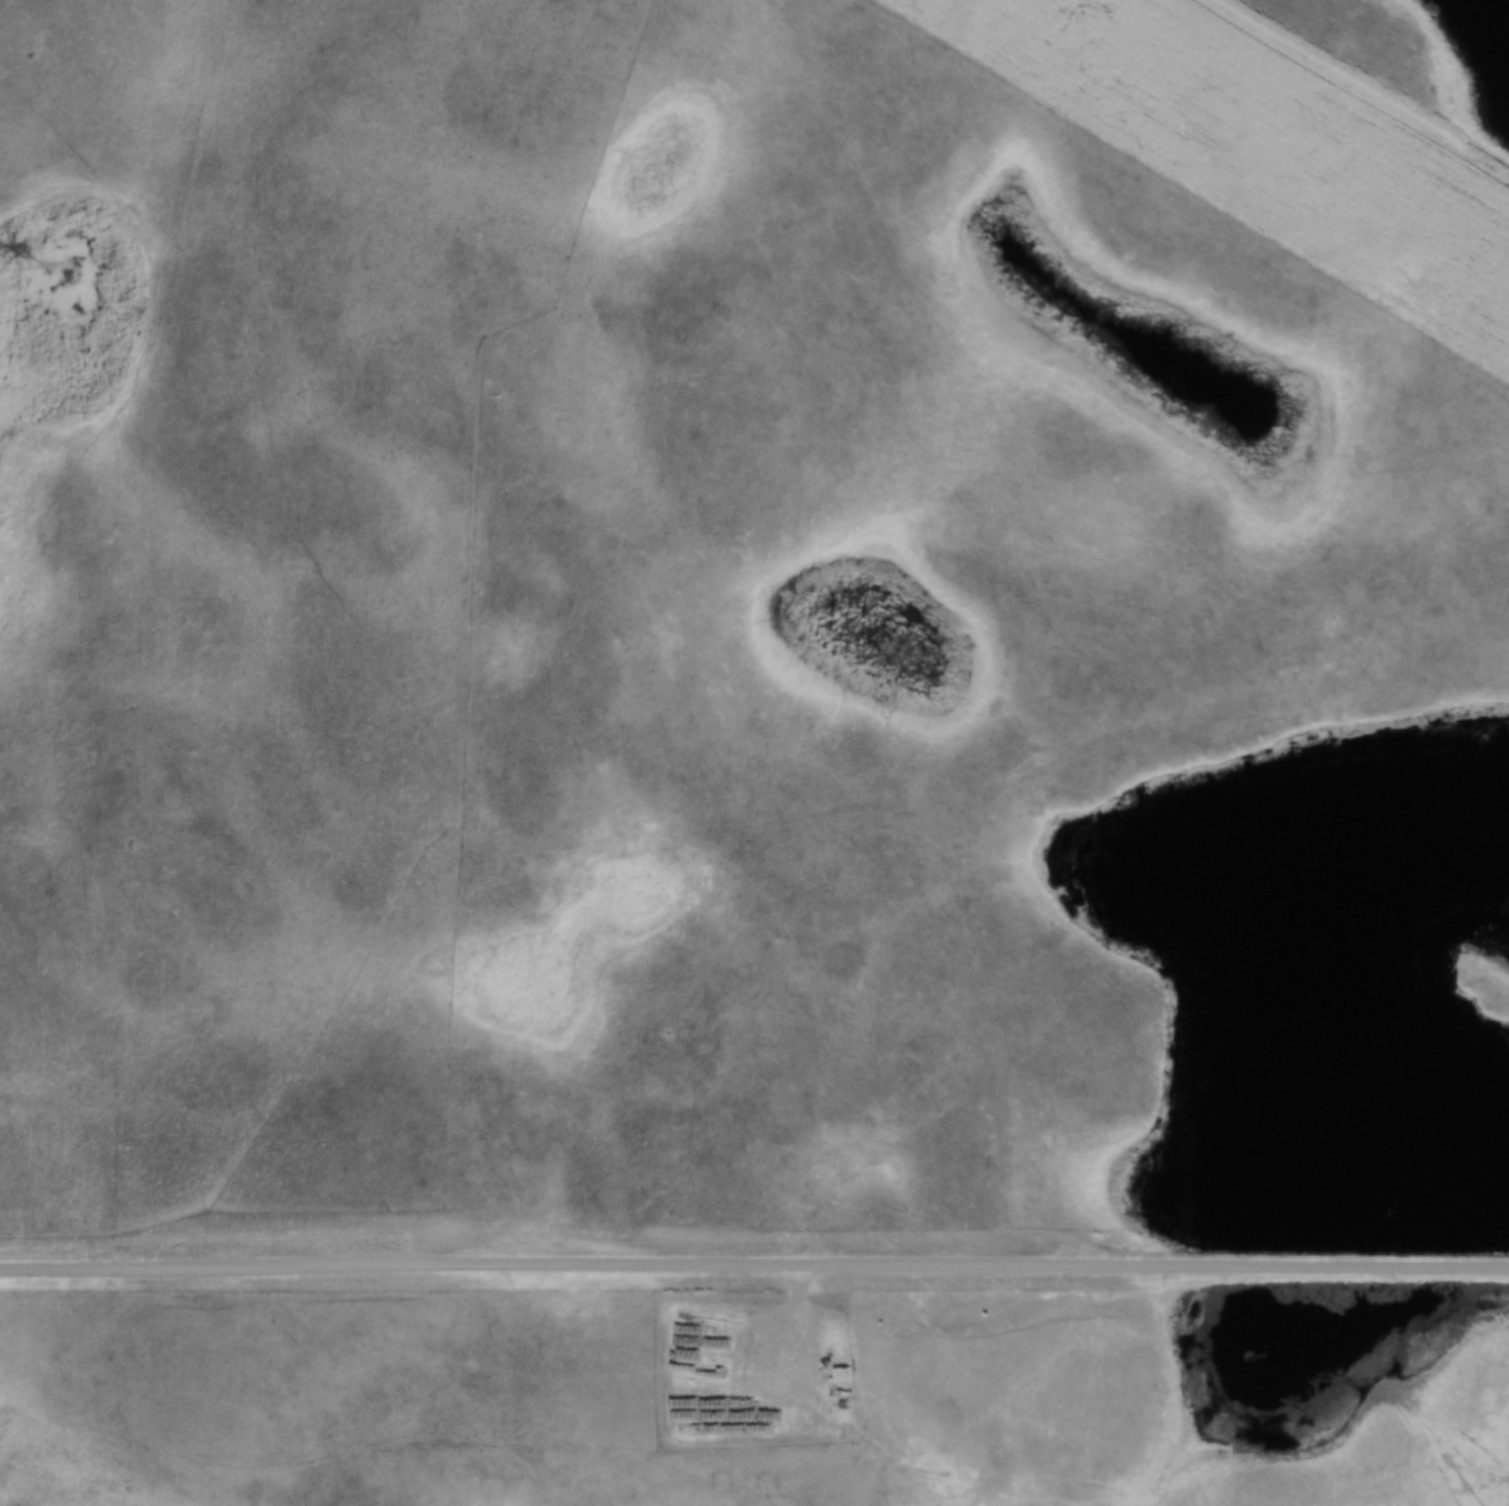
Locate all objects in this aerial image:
road: (754, 1269)

